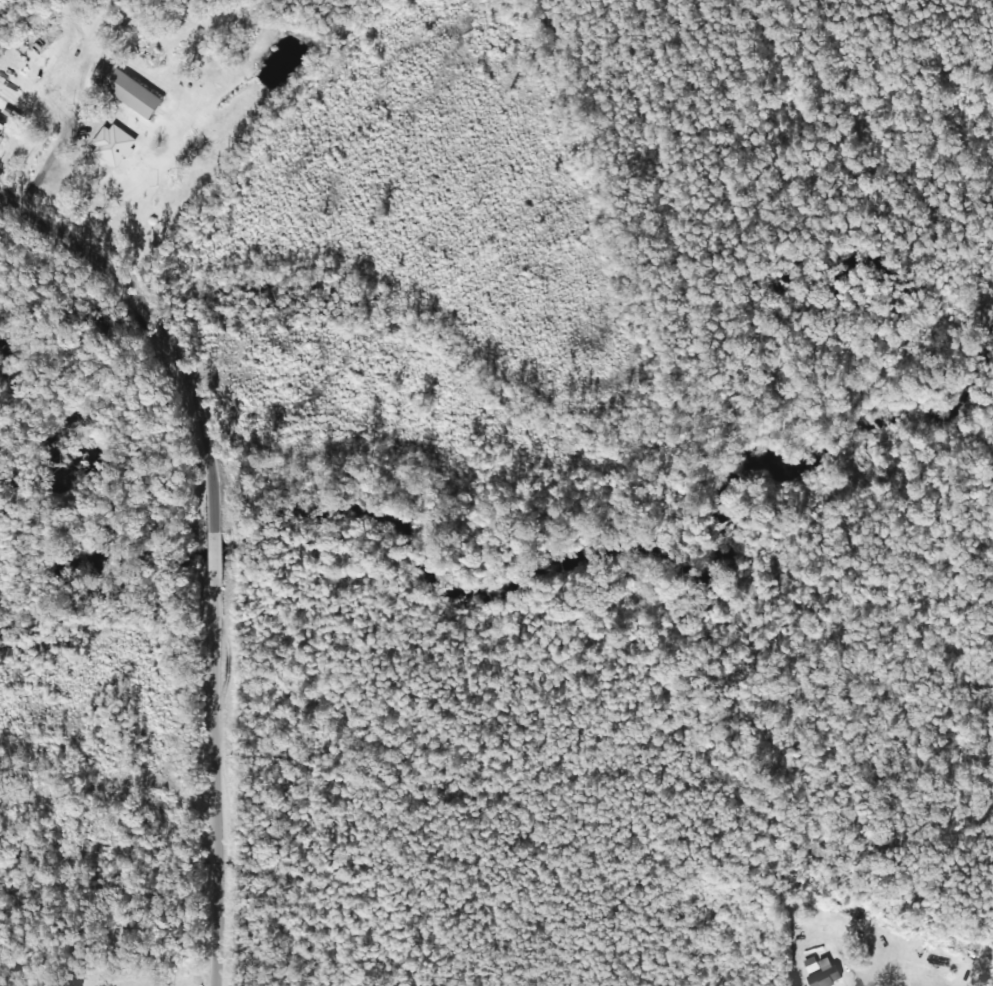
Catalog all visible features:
building: (126, 87)
building: (112, 144)
road: (122, 374)
road: (206, 557)
road: (209, 783)
building: (810, 964)
building: (824, 974)

